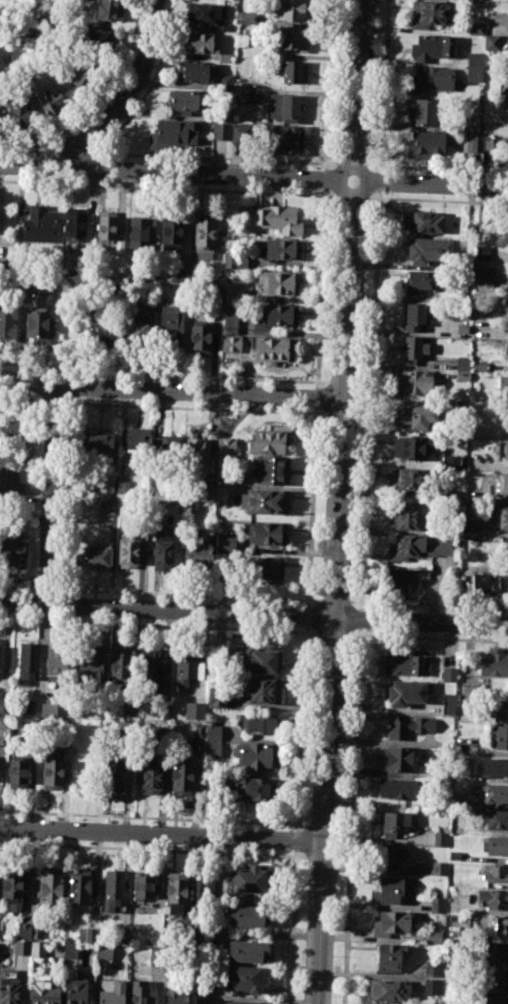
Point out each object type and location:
building: (109, 10)
building: (291, 10)
building: (205, 13)
building: (428, 13)
building: (248, 16)
building: (475, 29)
building: (290, 37)
building: (98, 38)
building: (242, 40)
building: (201, 43)
building: (491, 43)
building: (433, 47)
building: (225, 59)
building: (474, 66)
building: (196, 72)
building: (294, 72)
building: (81, 73)
building: (431, 78)
building: (224, 83)
road: (330, 85)
road: (384, 86)
building: (240, 90)
road: (128, 93)
building: (52, 102)
building: (185, 102)
building: (284, 108)
building: (426, 111)
building: (19, 113)
building: (2, 115)
building: (470, 124)
building: (221, 131)
building: (172, 134)
building: (241, 134)
building: (282, 139)
building: (486, 142)
building: (471, 144)
building: (424, 146)
road: (141, 154)
road: (353, 163)
road: (438, 167)
road: (253, 176)
road: (326, 178)
road: (380, 181)
road: (168, 188)
road: (351, 196)
road: (437, 200)
street lamp: (367, 202)
building: (279, 220)
building: (75, 222)
building: (424, 222)
building: (38, 224)
building: (105, 225)
building: (470, 229)
building: (140, 231)
building: (170, 234)
building: (204, 236)
building: (119, 248)
building: (281, 249)
building: (428, 249)
building: (482, 253)
building: (237, 261)
building: (468, 265)
building: (182, 272)
building: (482, 276)
building: (278, 282)
building: (417, 282)
building: (38, 284)
road: (321, 288)
building: (234, 291)
street lamp: (362, 291)
building: (276, 316)
building: (414, 317)
building: (230, 320)
building: (7, 322)
building: (504, 323)
building: (39, 327)
building: (170, 327)
building: (142, 329)
building: (461, 333)
building: (108, 334)
building: (199, 338)
building: (231, 343)
building: (413, 348)
building: (274, 349)
building: (507, 352)
building: (462, 363)
building: (478, 367)
road: (158, 374)
building: (462, 378)
building: (413, 381)
building: (503, 381)
street lamp: (359, 388)
road: (172, 390)
road: (316, 397)
road: (370, 399)
building: (459, 410)
building: (415, 416)
building: (12, 429)
road: (211, 437)
building: (270, 438)
building: (134, 439)
building: (99, 443)
building: (163, 443)
building: (225, 445)
building: (411, 447)
building: (193, 449)
building: (505, 449)
building: (173, 450)
building: (456, 463)
street lamp: (354, 469)
building: (271, 470)
building: (407, 480)
building: (9, 482)
building: (106, 485)
building: (500, 485)
building: (124, 487)
building: (222, 492)
building: (206, 494)
road: (52, 496)
building: (455, 496)
road: (65, 501)
building: (263, 502)
road: (340, 502)
building: (107, 507)
road: (311, 507)
building: (404, 516)
building: (501, 518)
road: (81, 523)
building: (470, 527)
building: (268, 533)
building: (225, 541)
building: (420, 546)
building: (129, 552)
building: (199, 552)
building: (12, 554)
building: (94, 555)
building: (162, 555)
building: (488, 556)
building: (264, 567)
building: (408, 579)
building: (484, 583)
road: (333, 600)
road: (428, 605)
street lamp: (454, 612)
road: (253, 616)
road: (307, 616)
road: (361, 618)
road: (153, 625)
road: (307, 628)
road: (332, 631)
road: (360, 631)
road: (355, 634)
road: (41, 656)
building: (262, 661)
building: (494, 662)
building: (28, 663)
building: (56, 663)
building: (120, 663)
building: (89, 664)
building: (404, 665)
building: (187, 669)
street lamp: (345, 670)
building: (152, 671)
building: (448, 674)
building: (263, 691)
building: (404, 693)
building: (216, 698)
building: (448, 704)
building: (198, 705)
building: (127, 709)
building: (48, 710)
building: (499, 710)
building: (165, 712)
building: (2, 722)
building: (261, 725)
building: (409, 725)
road: (302, 727)
building: (198, 731)
building: (212, 732)
building: (499, 736)
road: (354, 746)
building: (212, 749)
street lamp: (342, 752)
building: (256, 756)
building: (400, 759)
building: (492, 767)
building: (51, 769)
building: (16, 772)
building: (150, 775)
building: (112, 777)
building: (181, 780)
building: (251, 788)
building: (397, 789)
building: (494, 793)
road: (149, 816)
building: (495, 818)
building: (393, 823)
road: (162, 835)
building: (440, 838)
road: (297, 840)
road: (374, 840)
building: (495, 846)
road: (151, 848)
building: (392, 856)
building: (454, 856)
street lamp: (337, 857)
building: (439, 868)
building: (496, 873)
building: (247, 880)
building: (15, 886)
building: (78, 886)
building: (205, 886)
building: (49, 887)
building: (143, 888)
building: (112, 891)
building: (175, 891)
building: (389, 891)
building: (492, 899)
building: (437, 904)
building: (247, 915)
building: (390, 923)
building: (494, 925)
road: (291, 929)
building: (24, 930)
building: (36, 931)
building: (203, 933)
building: (86, 935)
building: (435, 935)
building: (122, 936)
building: (21, 947)
building: (36, 948)
building: (69, 951)
building: (246, 951)
building: (494, 952)
building: (103, 953)
building: (155, 954)
street lamp: (333, 956)
building: (389, 956)
building: (432, 969)
building: (241, 979)
building: (495, 980)
road: (23, 982)
road: (161, 986)
building: (199, 986)
building: (433, 987)
building: (76, 988)
building: (389, 990)
building: (9, 991)
building: (43, 992)
building: (139, 993)
building: (112, 994)
building: (175, 996)
road: (257, 999)
building: (200, 1000)
building: (492, 1000)
building: (241, 1002)

